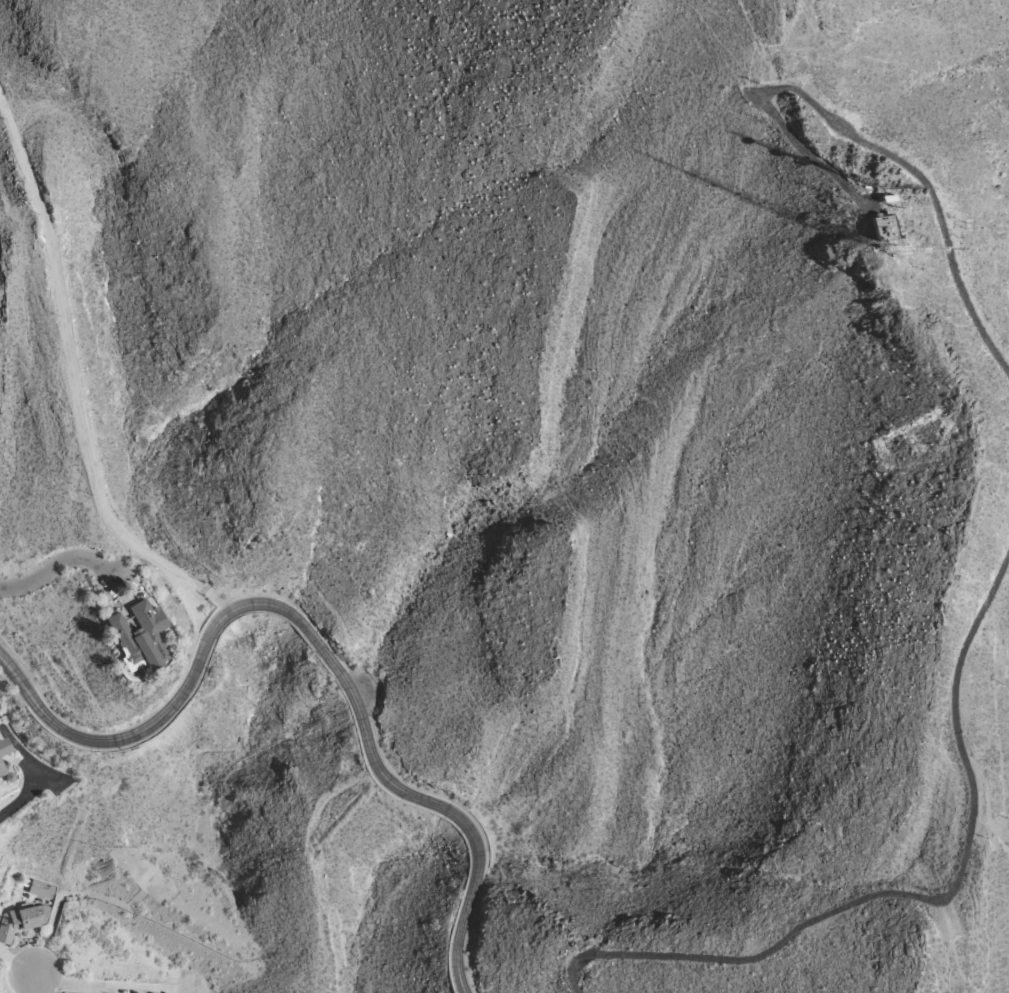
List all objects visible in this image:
road: (880, 151)
road: (79, 383)
road: (64, 563)
road: (312, 635)
building: (139, 636)
building: (1, 763)
building: (42, 889)
road: (924, 900)
building: (20, 921)
road: (37, 983)

